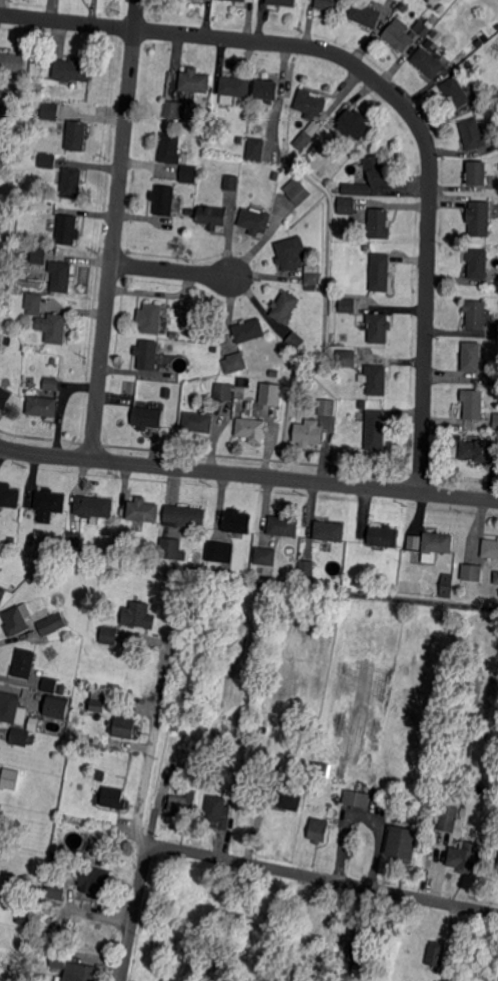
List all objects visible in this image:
building: (205, 0)
building: (242, 0)
building: (282, 2)
building: (330, 5)
building: (365, 14)
building: (494, 20)
building: (496, 27)
building: (424, 28)
building: (433, 34)
building: (398, 35)
building: (485, 38)
building: (479, 43)
building: (466, 51)
building: (13, 62)
building: (427, 62)
building: (73, 71)
building: (194, 81)
building: (235, 86)
building: (267, 90)
building: (456, 92)
road: (392, 95)
building: (33, 99)
building: (311, 103)
building: (175, 109)
building: (50, 111)
building: (243, 122)
building: (353, 124)
building: (77, 135)
building: (472, 136)
building: (303, 140)
building: (169, 148)
building: (314, 148)
building: (255, 149)
building: (306, 159)
building: (48, 160)
building: (375, 170)
building: (189, 173)
building: (477, 174)
building: (274, 176)
building: (230, 182)
building: (72, 183)
building: (356, 189)
building: (296, 191)
building: (163, 199)
building: (346, 206)
building: (190, 212)
building: (212, 216)
building: (479, 218)
building: (255, 221)
building: (379, 223)
building: (67, 229)
road: (114, 229)
building: (351, 237)
building: (2, 247)
building: (365, 248)
building: (290, 253)
building: (39, 256)
building: (477, 264)
road: (171, 270)
building: (380, 272)
building: (313, 274)
building: (61, 276)
building: (310, 288)
building: (33, 304)
building: (347, 305)
building: (284, 307)
building: (475, 315)
building: (150, 317)
building: (52, 328)
building: (378, 328)
building: (248, 330)
building: (196, 337)
building: (294, 341)
building: (146, 354)
building: (470, 357)
building: (345, 359)
building: (333, 361)
building: (233, 363)
building: (273, 374)
building: (495, 377)
building: (375, 380)
building: (51, 384)
building: (223, 391)
building: (166, 393)
building: (270, 394)
building: (4, 396)
building: (473, 403)
building: (363, 404)
building: (42, 406)
building: (327, 407)
building: (147, 417)
building: (495, 420)
building: (198, 422)
building: (251, 427)
building: (379, 427)
building: (308, 434)
building: (479, 450)
road: (248, 474)
building: (9, 495)
building: (49, 504)
building: (96, 506)
building: (143, 510)
building: (184, 516)
building: (236, 520)
building: (283, 526)
building: (330, 531)
building: (384, 536)
building: (31, 539)
building: (76, 539)
building: (11, 540)
building: (412, 541)
building: (436, 542)
building: (170, 548)
building: (489, 548)
building: (90, 549)
building: (219, 552)
building: (142, 556)
building: (265, 556)
building: (427, 556)
building: (306, 568)
building: (472, 572)
building: (495, 577)
building: (384, 584)
building: (446, 585)
building: (12, 587)
building: (2, 593)
building: (137, 614)
building: (15, 621)
building: (51, 624)
building: (109, 635)
building: (492, 641)
building: (24, 662)
building: (49, 684)
building: (61, 689)
building: (97, 705)
building: (9, 706)
building: (57, 706)
building: (114, 708)
building: (196, 722)
building: (37, 723)
building: (124, 727)
building: (262, 729)
building: (244, 730)
building: (19, 736)
road: (149, 752)
building: (241, 752)
building: (177, 771)
building: (90, 775)
building: (100, 775)
building: (8, 777)
building: (316, 786)
building: (452, 794)
building: (282, 796)
building: (114, 798)
building: (353, 798)
building: (0, 803)
building: (182, 806)
building: (1, 808)
building: (217, 812)
road: (364, 813)
building: (448, 818)
building: (318, 830)
building: (400, 844)
building: (470, 858)
building: (497, 869)
building: (94, 878)
road: (326, 878)
building: (54, 891)
road: (134, 913)
building: (316, 933)
building: (360, 947)
building: (435, 954)
building: (58, 959)
building: (345, 967)
building: (386, 969)
building: (326, 971)
building: (83, 973)

